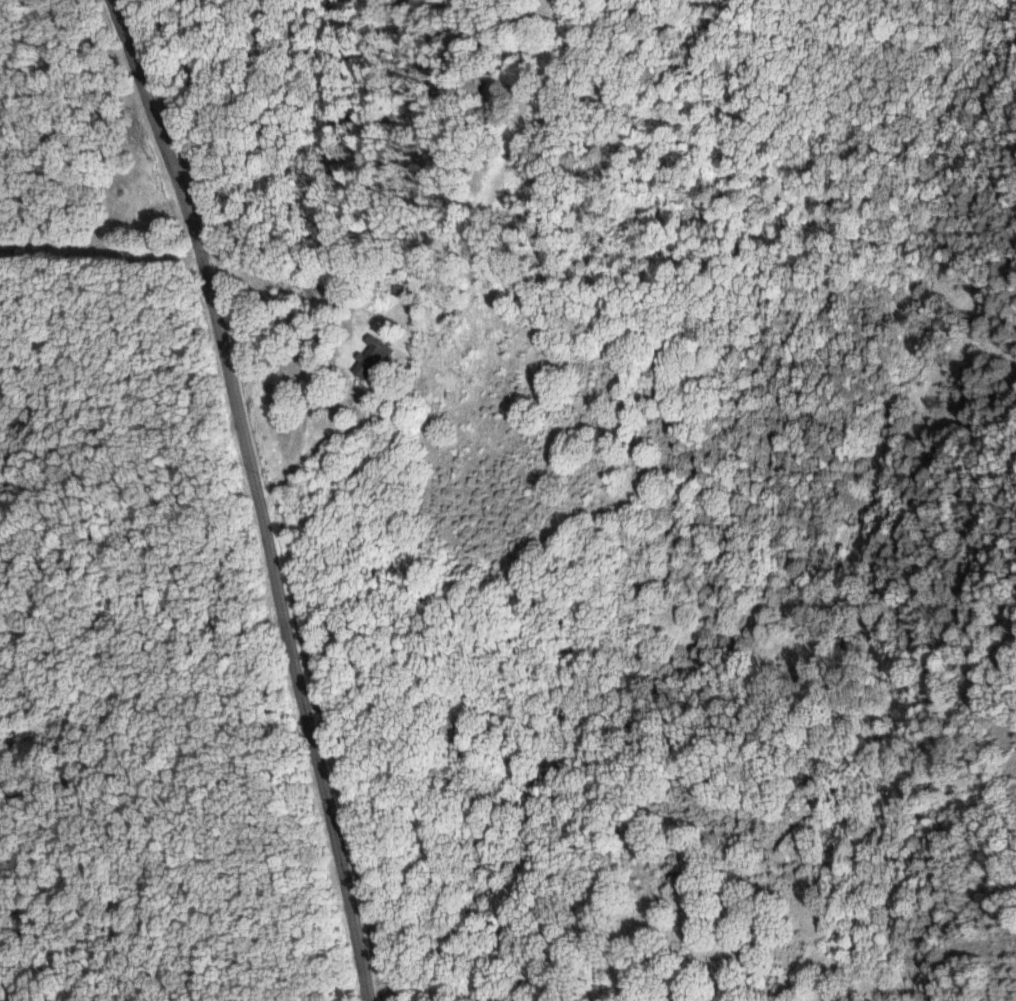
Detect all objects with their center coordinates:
road: (39, 51)
building: (366, 360)
road: (313, 372)
road: (255, 495)

